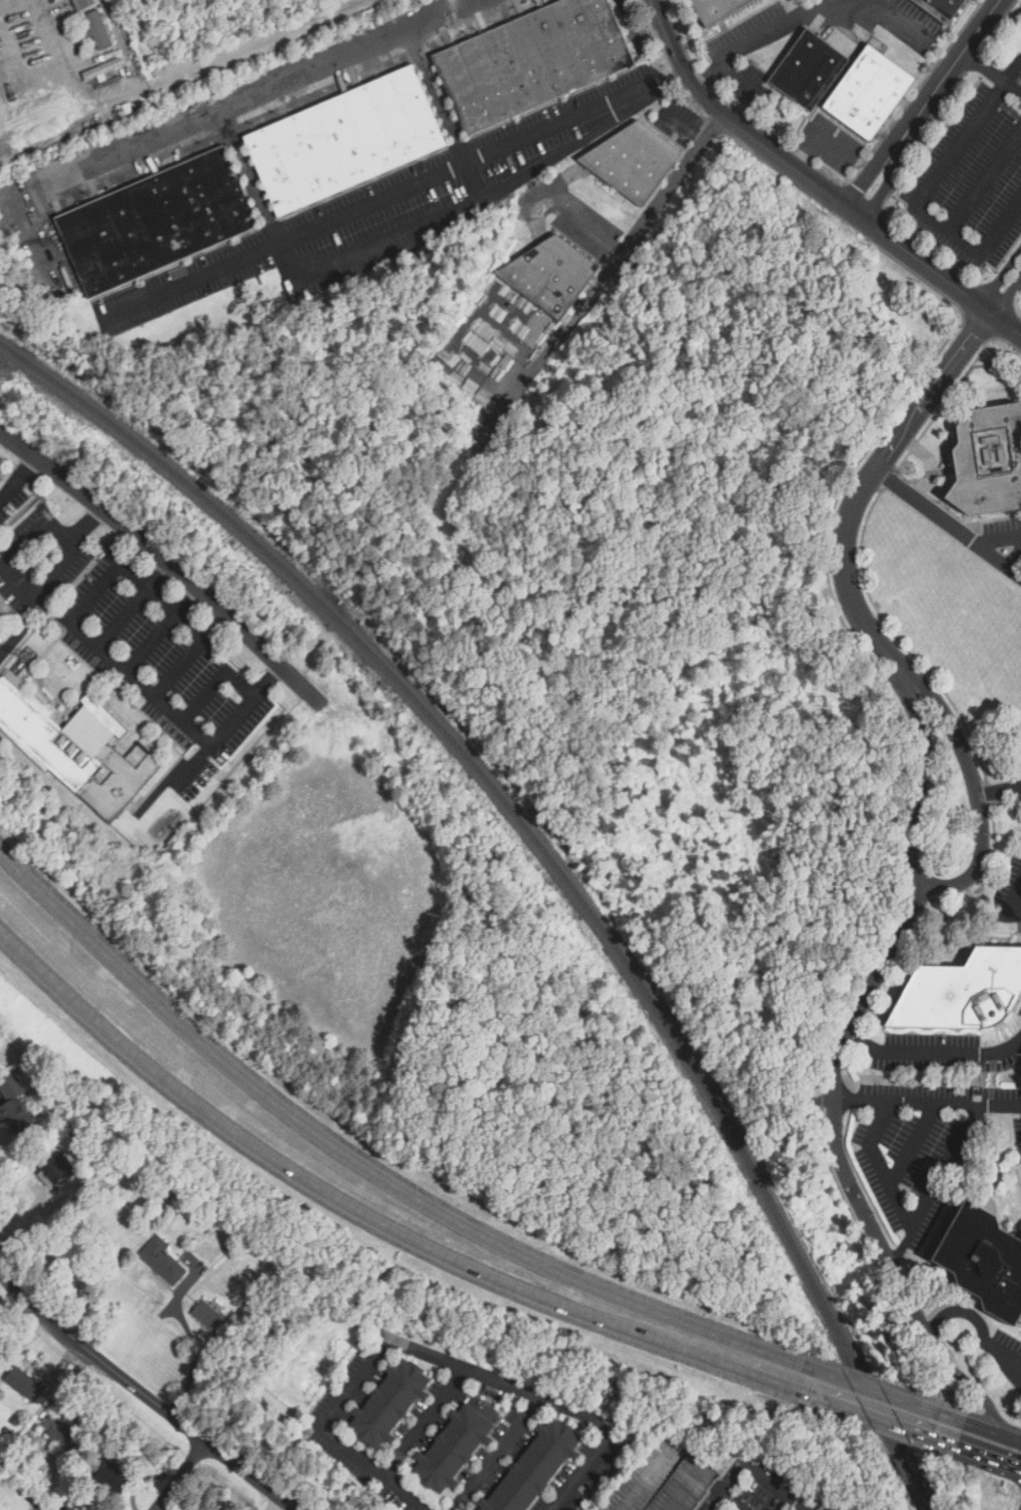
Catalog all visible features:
building: (84, 4)
building: (943, 8)
building: (717, 9)
road: (902, 20)
building: (98, 30)
road: (761, 36)
building: (533, 61)
building: (809, 70)
road: (1012, 70)
road: (992, 72)
road: (742, 77)
road: (269, 85)
road: (437, 91)
building: (870, 93)
road: (925, 105)
road: (817, 135)
building: (345, 139)
building: (634, 160)
road: (250, 174)
road: (984, 180)
road: (674, 183)
road: (813, 184)
road: (393, 192)
road: (919, 202)
building: (156, 221)
road: (583, 221)
road: (388, 238)
building: (552, 274)
road: (1007, 288)
road: (600, 289)
road: (534, 371)
building: (986, 461)
road: (18, 479)
road: (867, 485)
road: (945, 514)
road: (1000, 535)
road: (144, 544)
road: (1016, 556)
road: (1016, 566)
road: (25, 590)
road: (133, 604)
road: (160, 628)
building: (1, 639)
road: (194, 651)
road: (124, 667)
road: (217, 683)
building: (79, 750)
road: (192, 763)
road: (926, 786)
road: (998, 787)
road: (975, 792)
railway: (550, 859)
road: (1011, 907)
road: (885, 962)
building: (961, 993)
road: (204, 1049)
road: (934, 1050)
road: (782, 1069)
road: (839, 1069)
road: (928, 1100)
building: (16, 1107)
road: (912, 1144)
road: (879, 1164)
building: (56, 1168)
road: (937, 1183)
road: (344, 1202)
building: (983, 1260)
building: (163, 1261)
road: (903, 1280)
road: (613, 1293)
building: (209, 1317)
road: (982, 1325)
road: (195, 1346)
road: (430, 1355)
road: (1019, 1375)
road: (767, 1378)
building: (25, 1384)
road: (878, 1392)
road: (144, 1396)
building: (390, 1404)
road: (847, 1406)
road: (423, 1421)
road: (992, 1431)
building: (62, 1433)
road: (932, 1437)
building: (457, 1445)
road: (496, 1453)
road: (989, 1456)
building: (532, 1466)
road: (750, 1467)
road: (182, 1475)
building: (112, 1477)
building: (664, 1478)
parking garage: (664, 1478)

